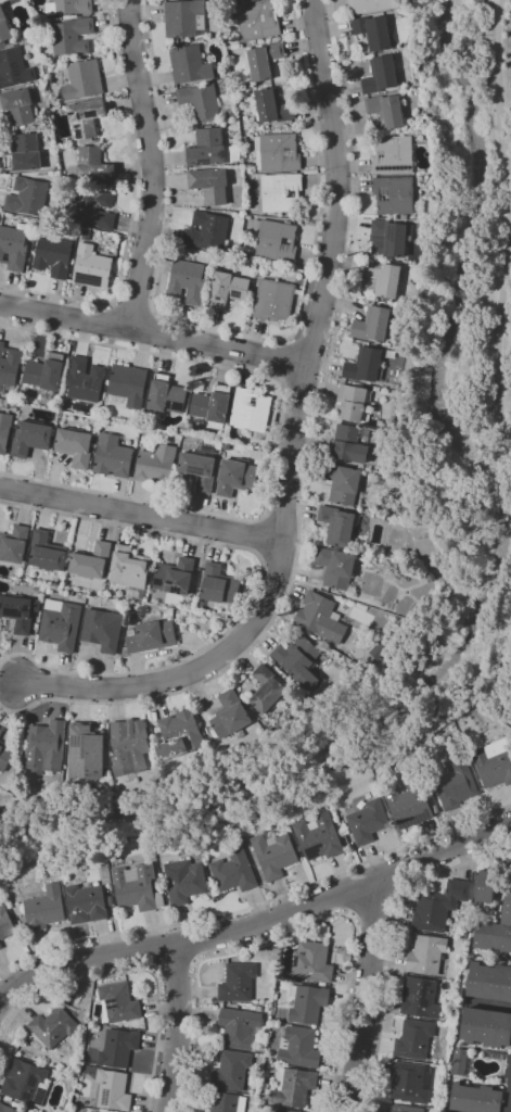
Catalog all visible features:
building: (1, 0)
building: (369, 5)
building: (69, 7)
rooftop solar panel: (263, 16)
building: (186, 17)
building: (257, 20)
building: (4, 26)
building: (373, 31)
building: (73, 36)
building: (264, 60)
rooftop solar panel: (16, 63)
building: (190, 64)
building: (14, 68)
building: (381, 74)
building: (84, 79)
building: (201, 101)
building: (18, 106)
building: (273, 106)
building: (387, 110)
rooftop solar panel: (92, 112)
building: (231, 112)
building: (87, 117)
rooftop solar panel: (78, 130)
building: (208, 148)
building: (235, 148)
rooftop solar panel: (289, 150)
building: (279, 151)
building: (24, 153)
rooftop solar panel: (222, 153)
building: (394, 154)
rooftop solar panel: (205, 160)
road: (150, 162)
rooftop solar panel: (199, 164)
building: (94, 166)
rooftop solar panel: (394, 167)
building: (210, 185)
building: (281, 192)
building: (394, 194)
building: (28, 195)
building: (93, 207)
road: (131, 208)
road: (509, 228)
building: (206, 230)
building: (388, 238)
building: (278, 240)
rooftop solar panel: (286, 242)
building: (13, 248)
building: (54, 256)
building: (92, 266)
building: (385, 277)
rooftop solar panel: (91, 279)
building: (187, 281)
building: (228, 289)
building: (274, 299)
road: (135, 307)
building: (372, 324)
road: (154, 330)
road: (238, 331)
road: (285, 361)
building: (366, 365)
building: (9, 366)
building: (47, 374)
building: (85, 379)
building: (128, 384)
building: (166, 395)
rooftop solar panel: (252, 401)
building: (353, 402)
building: (14, 403)
building: (213, 406)
building: (251, 409)
building: (4, 431)
building: (31, 438)
road: (273, 439)
road: (293, 442)
building: (349, 443)
building: (75, 446)
building: (227, 446)
building: (113, 456)
road: (304, 460)
building: (156, 464)
building: (201, 465)
rooftop solar panel: (196, 469)
building: (235, 477)
building: (343, 482)
road: (143, 513)
building: (338, 525)
building: (14, 543)
building: (47, 551)
building: (91, 560)
building: (336, 566)
building: (129, 568)
building: (175, 576)
rooftop solar panel: (157, 581)
rooftop solar panel: (171, 582)
building: (216, 582)
rooftop solar panel: (177, 589)
road: (257, 589)
building: (139, 596)
building: (187, 603)
building: (141, 609)
rooftop solar panel: (11, 610)
building: (20, 611)
building: (321, 618)
building: (61, 623)
building: (103, 629)
building: (151, 636)
building: (379, 650)
building: (299, 659)
building: (267, 690)
building: (230, 715)
building: (182, 731)
building: (1, 732)
rooftop solar panel: (84, 742)
building: (46, 746)
building: (129, 746)
building: (85, 753)
building: (5, 755)
building: (494, 762)
building: (385, 773)
building: (456, 785)
building: (409, 803)
building: (368, 821)
building: (318, 836)
building: (274, 852)
building: (234, 871)
building: (212, 877)
building: (186, 881)
building: (158, 885)
building: (486, 885)
building: (137, 887)
road: (397, 890)
road: (346, 892)
road: (373, 901)
building: (86, 903)
road: (258, 905)
building: (463, 905)
building: (439, 906)
building: (46, 908)
road: (353, 913)
building: (5, 923)
road: (256, 925)
building: (497, 925)
road: (296, 930)
road: (190, 940)
road: (393, 942)
building: (0, 945)
road: (152, 948)
building: (426, 955)
road: (194, 961)
building: (312, 962)
road: (174, 963)
road: (154, 969)
road: (131, 970)
building: (490, 982)
building: (238, 983)
rooftop solar panel: (425, 993)
road: (366, 994)
rooftop solar panel: (414, 997)
building: (420, 997)
rooftop solar panel: (115, 999)
building: (118, 1002)
building: (307, 1003)
rooftop solar panel: (116, 1006)
building: (259, 1009)
building: (53, 1026)
building: (240, 1027)
road: (178, 1028)
building: (487, 1029)
building: (414, 1039)
building: (118, 1048)
building: (299, 1048)
building: (509, 1059)
building: (462, 1061)
building: (231, 1071)
building: (509, 1077)
rooftop solar panel: (33, 1079)
building: (410, 1082)
building: (25, 1083)
building: (293, 1086)
building: (113, 1090)
rooftop solar panel: (27, 1095)
rooftop solar panel: (105, 1097)
building: (477, 1098)
building: (225, 1101)
building: (509, 1107)
building: (7, 1109)
building: (404, 1109)
building: (95, 1111)
building: (99, 1111)
building: (284, 1111)

